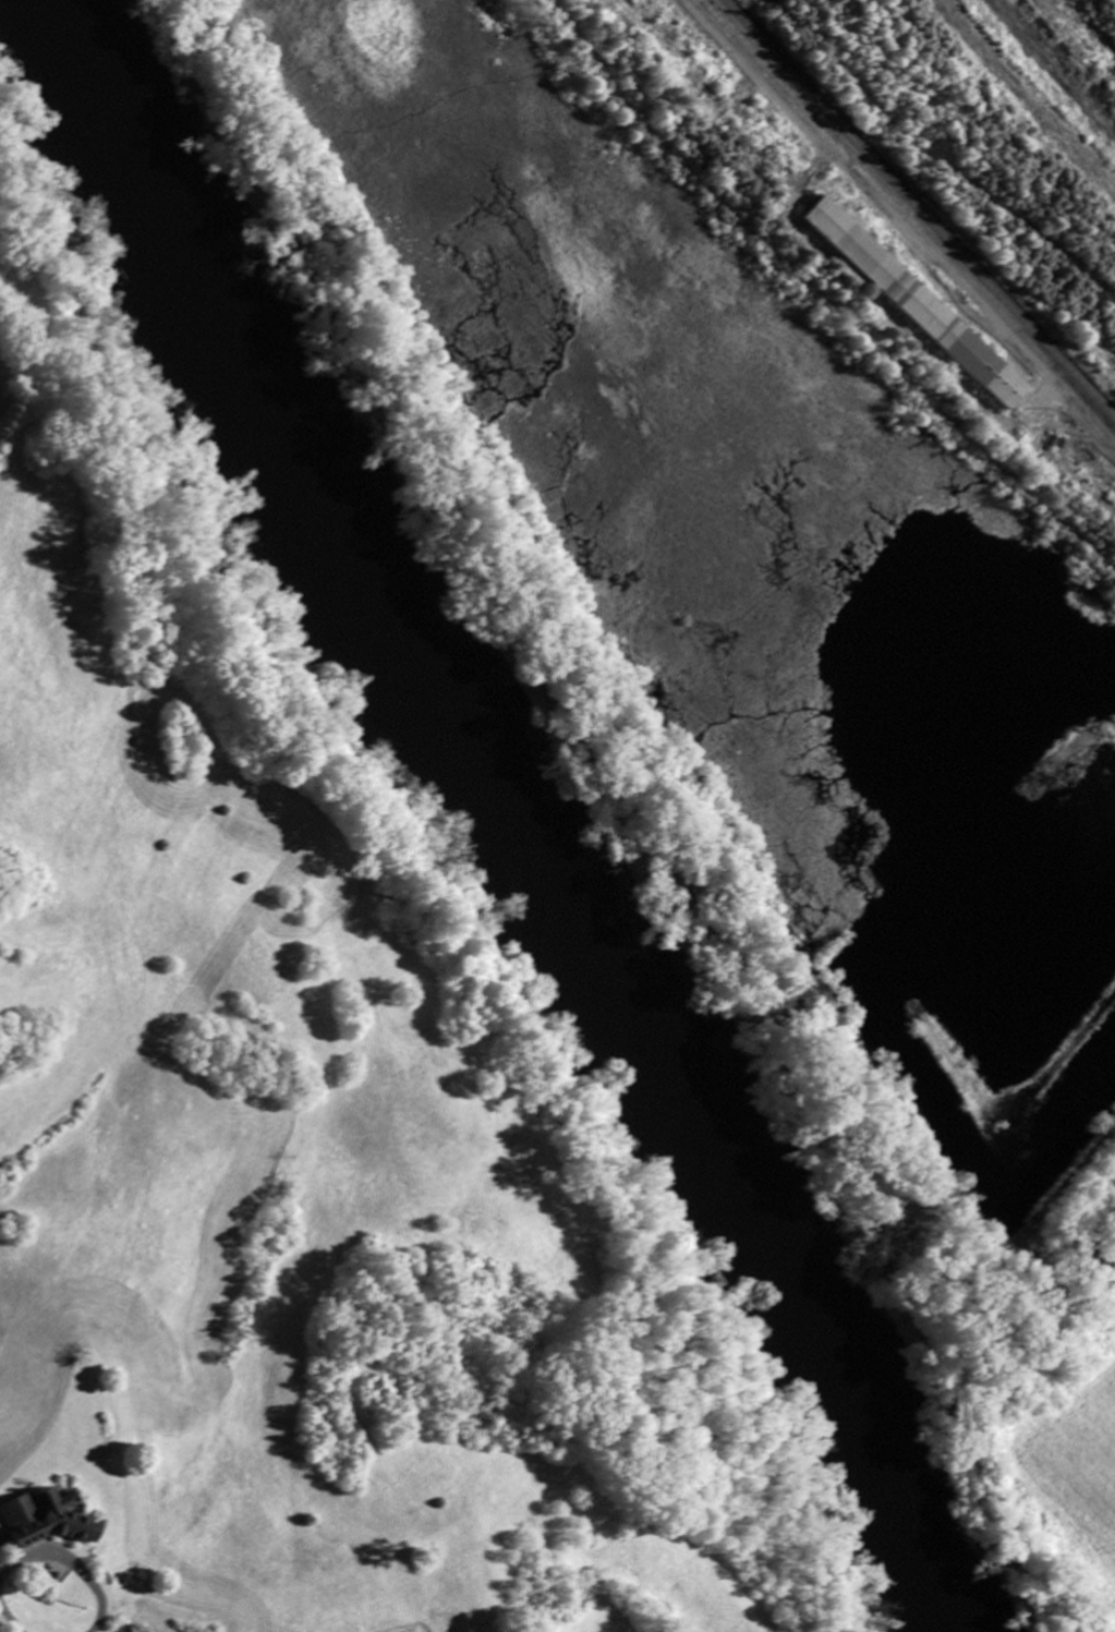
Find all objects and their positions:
railway: (917, 211)
building: (916, 305)
river: (505, 819)
building: (48, 1520)
road: (48, 1558)

